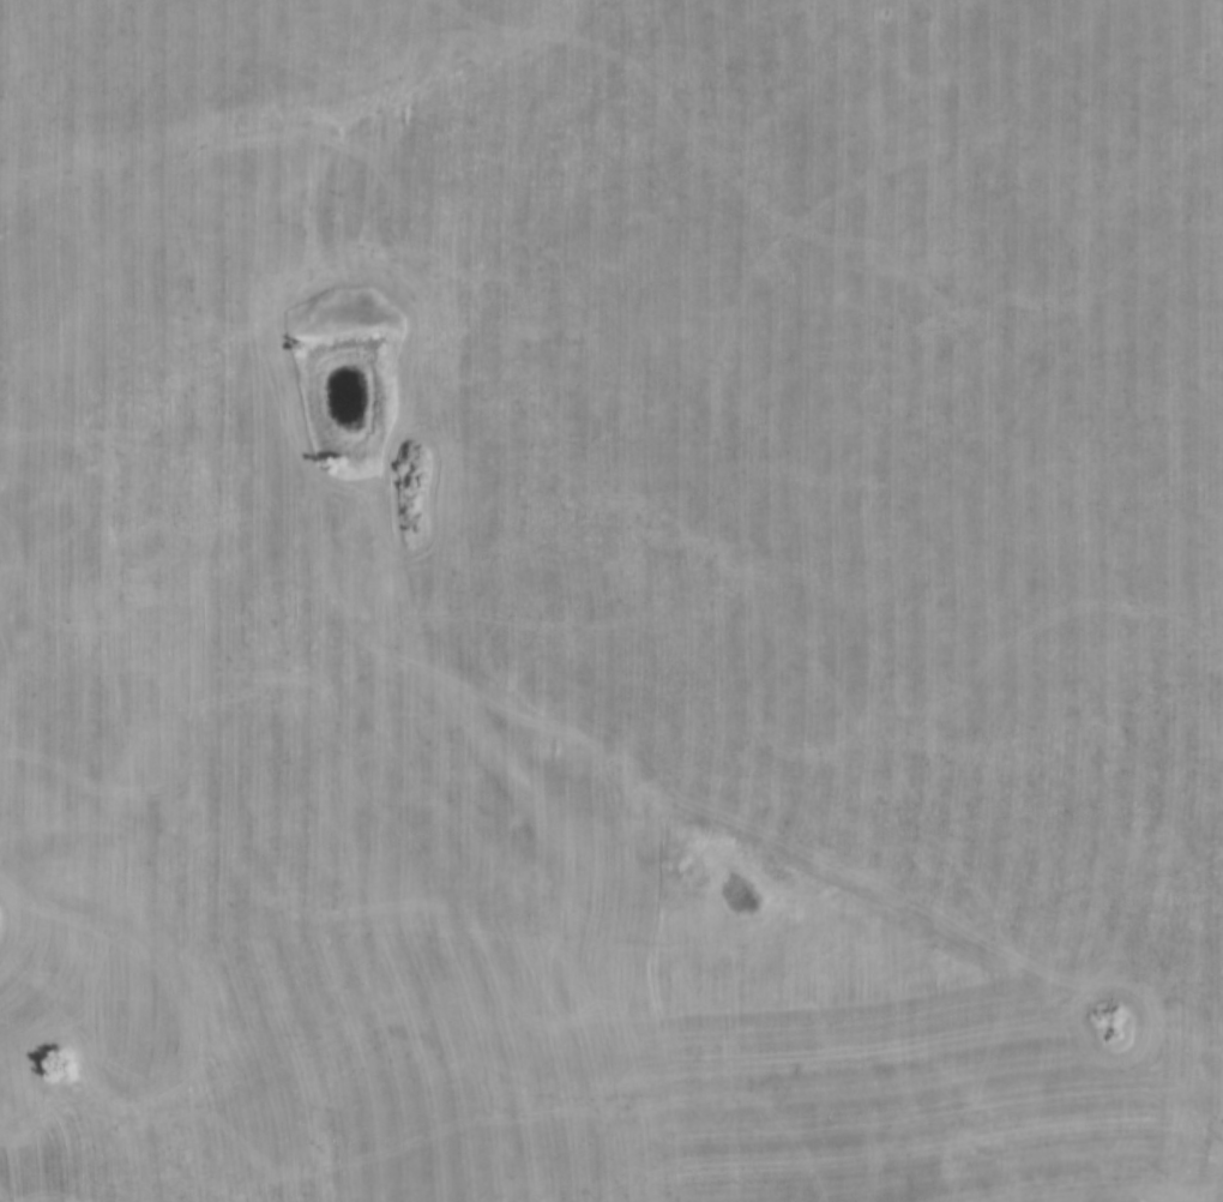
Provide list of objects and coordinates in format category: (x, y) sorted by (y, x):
road: (138, 695)

